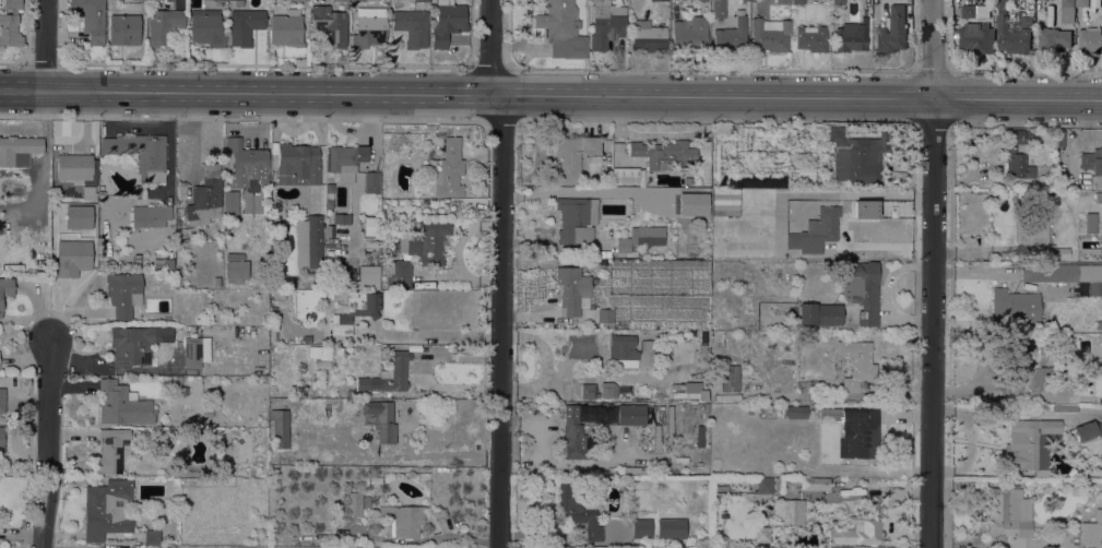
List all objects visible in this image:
building: (300, 0)
building: (356, 0)
building: (420, 0)
building: (700, 0)
building: (782, 1)
building: (797, 1)
building: (838, 1)
building: (238, 2)
building: (1000, 2)
building: (1081, 3)
building: (718, 9)
building: (1067, 10)
building: (969, 11)
building: (91, 19)
building: (1027, 21)
building: (331, 22)
building: (447, 22)
building: (606, 23)
building: (10, 24)
building: (163, 25)
building: (244, 25)
building: (412, 26)
building: (206, 27)
building: (369, 27)
building: (286, 28)
building: (123, 29)
building: (562, 29)
building: (892, 29)
building: (687, 31)
building: (648, 35)
building: (768, 35)
building: (851, 36)
building: (731, 37)
building: (810, 37)
building: (1011, 37)
building: (976, 38)
building: (1053, 38)
building: (1090, 39)
road: (47, 46)
road: (491, 47)
road: (993, 72)
road: (550, 95)
road: (244, 119)
road: (500, 120)
road: (751, 121)
road: (935, 123)
building: (564, 129)
building: (19, 150)
building: (140, 153)
building: (664, 153)
building: (572, 155)
building: (1017, 156)
building: (854, 157)
building: (345, 160)
building: (1092, 160)
building: (247, 163)
building: (297, 164)
building: (74, 166)
building: (449, 169)
building: (627, 175)
building: (371, 178)
building: (1047, 183)
building: (138, 190)
building: (264, 193)
building: (205, 196)
road: (951, 198)
building: (1099, 198)
building: (725, 201)
building: (230, 204)
building: (283, 204)
building: (151, 216)
building: (279, 216)
building: (341, 217)
building: (573, 221)
building: (1090, 223)
building: (369, 226)
building: (1040, 229)
building: (165, 230)
building: (816, 230)
building: (311, 235)
building: (641, 237)
building: (417, 252)
building: (602, 254)
building: (640, 254)
building: (72, 257)
building: (137, 261)
building: (167, 264)
building: (236, 265)
road: (933, 273)
building: (1067, 274)
building: (359, 279)
building: (217, 281)
building: (5, 288)
building: (572, 288)
building: (862, 289)
road: (886, 291)
building: (123, 293)
building: (1015, 307)
building: (355, 310)
road: (914, 310)
building: (819, 313)
building: (605, 314)
road: (500, 321)
building: (1099, 324)
building: (273, 330)
road: (430, 333)
building: (307, 337)
building: (135, 344)
building: (623, 347)
building: (348, 348)
building: (339, 349)
building: (195, 350)
building: (320, 353)
road: (26, 359)
road: (544, 361)
building: (856, 364)
building: (1022, 367)
building: (388, 374)
building: (730, 378)
building: (1062, 379)
building: (1088, 380)
building: (182, 390)
building: (608, 390)
building: (685, 390)
building: (589, 391)
building: (624, 391)
building: (690, 395)
building: (726, 396)
building: (2, 400)
building: (122, 404)
building: (1064, 408)
building: (771, 412)
building: (796, 412)
building: (829, 413)
building: (631, 414)
building: (381, 419)
building: (280, 427)
building: (1087, 430)
building: (858, 432)
building: (573, 433)
building: (656, 438)
building: (1, 439)
road: (949, 441)
building: (1030, 441)
road: (46, 443)
building: (410, 443)
building: (109, 451)
building: (1100, 454)
road: (443, 456)
building: (1101, 462)
building: (636, 470)
road: (948, 472)
road: (948, 478)
building: (372, 479)
building: (777, 484)
building: (815, 484)
road: (948, 484)
building: (765, 485)
building: (720, 487)
building: (366, 501)
building: (354, 502)
building: (107, 509)
building: (578, 512)
building: (793, 512)
building: (1008, 513)
road: (947, 514)
building: (339, 519)
building: (403, 520)
building: (641, 527)
building: (668, 528)
building: (860, 528)
building: (1091, 529)
building: (152, 536)
road: (947, 545)

